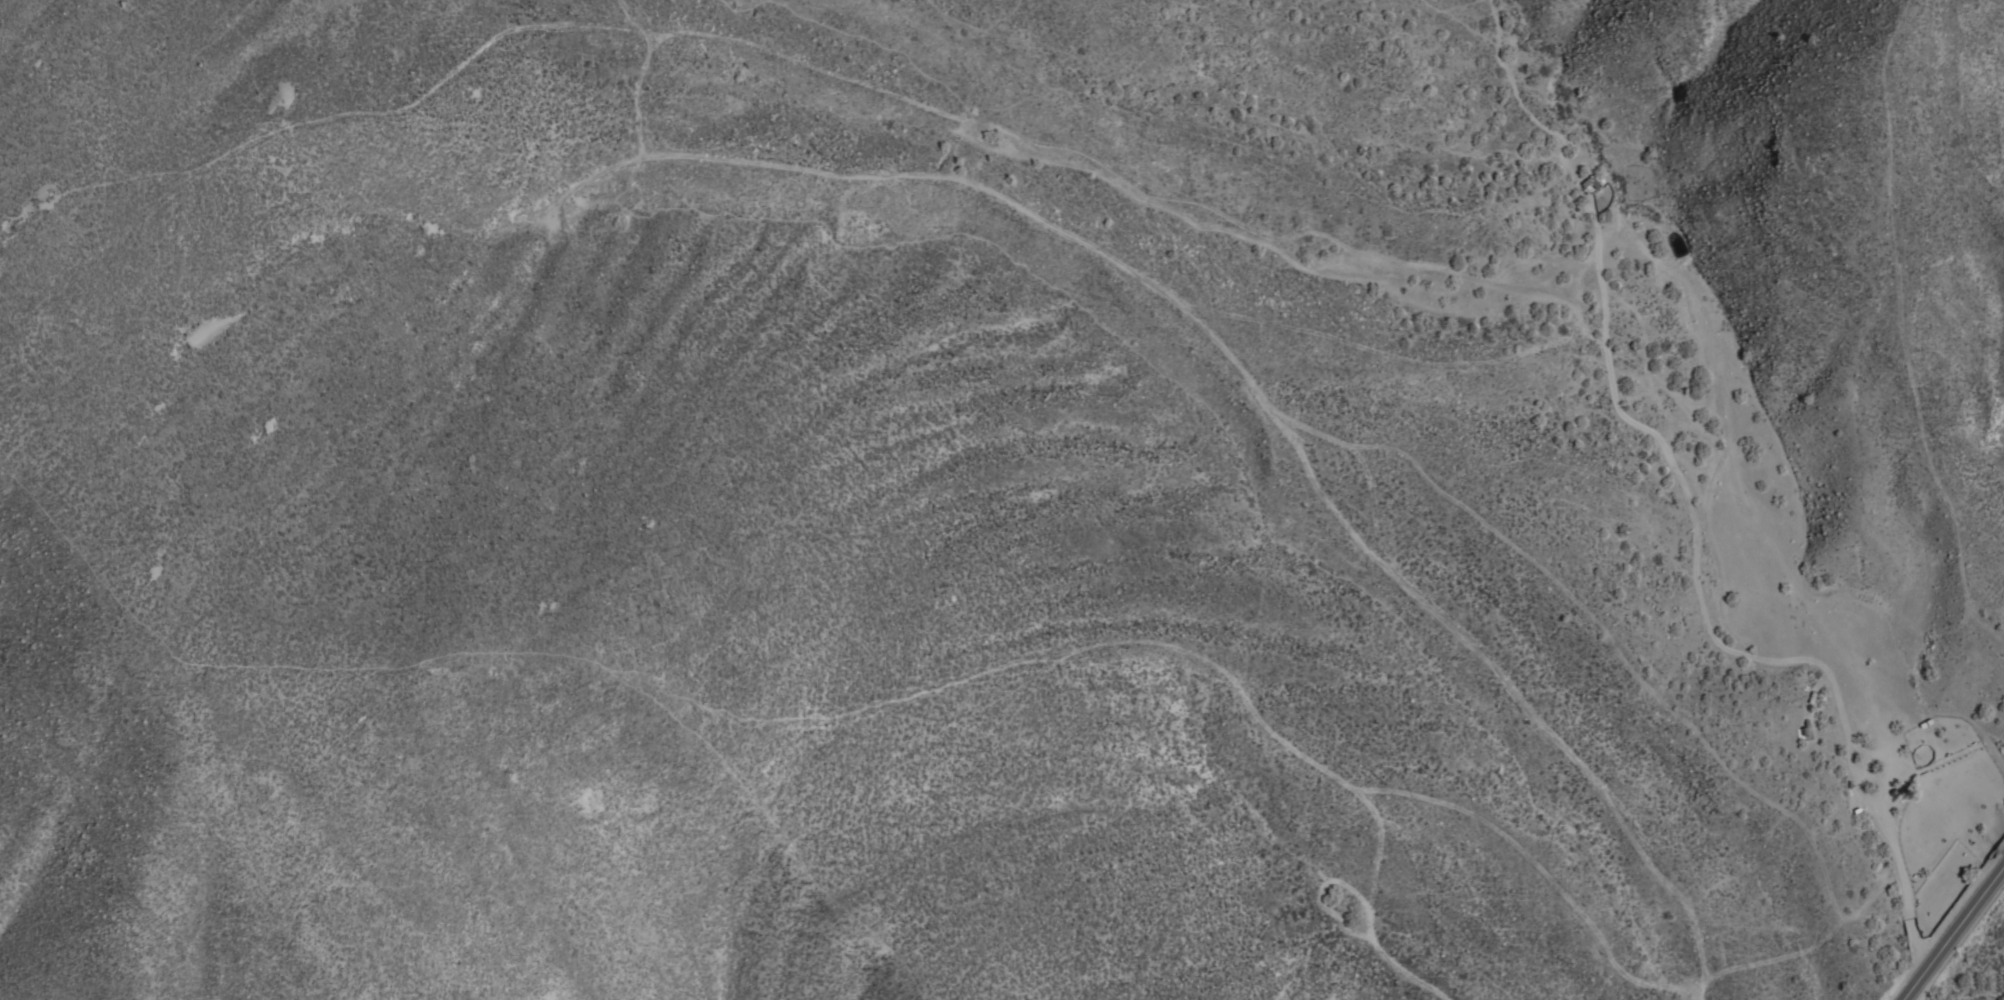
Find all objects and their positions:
road: (1951, 927)

